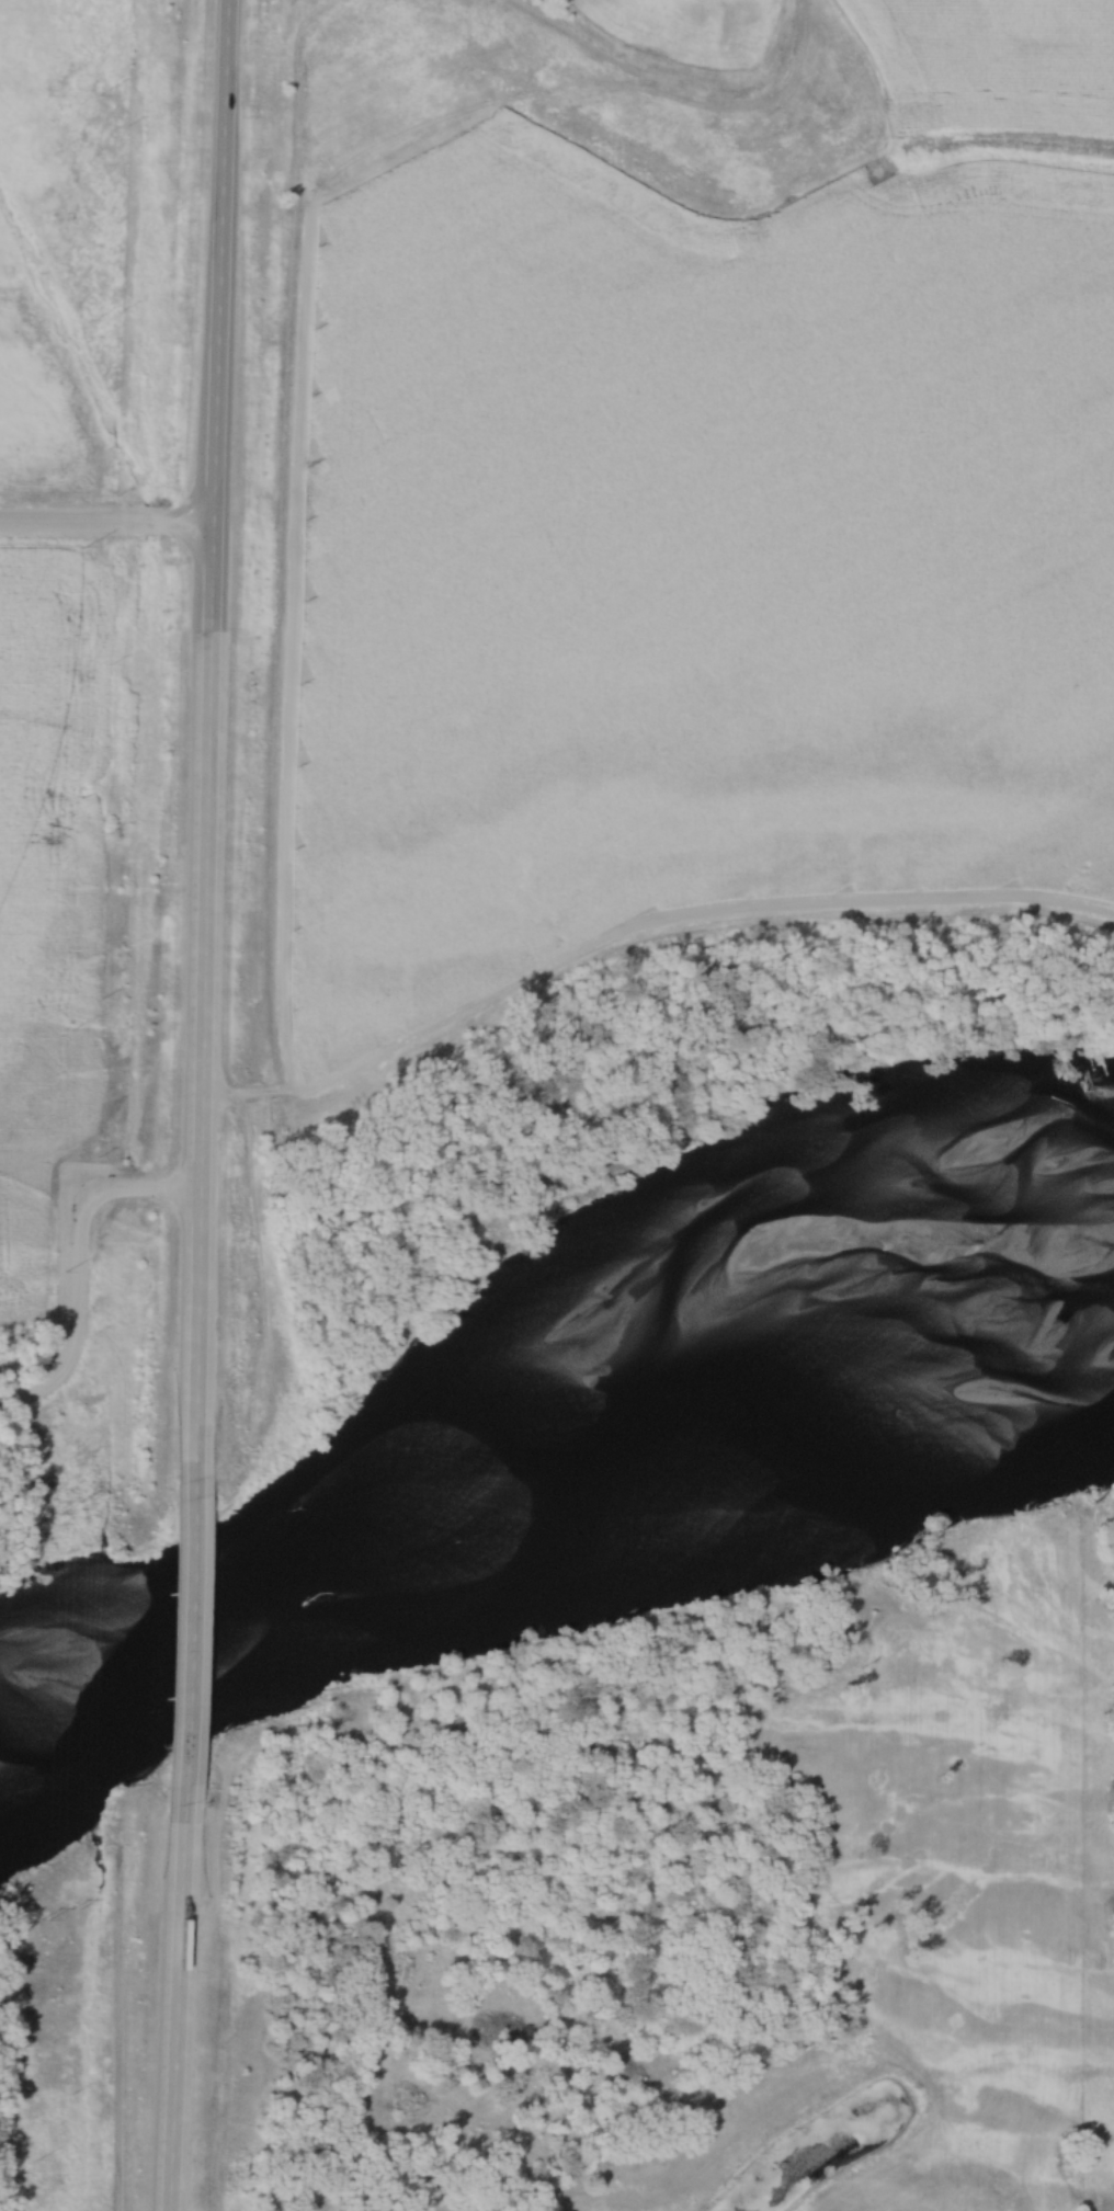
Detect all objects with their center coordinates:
road: (216, 263)
road: (104, 527)
road: (198, 1003)
road: (75, 1265)
park: (93, 1367)
river: (550, 1458)
road: (189, 1643)
road: (173, 2008)

